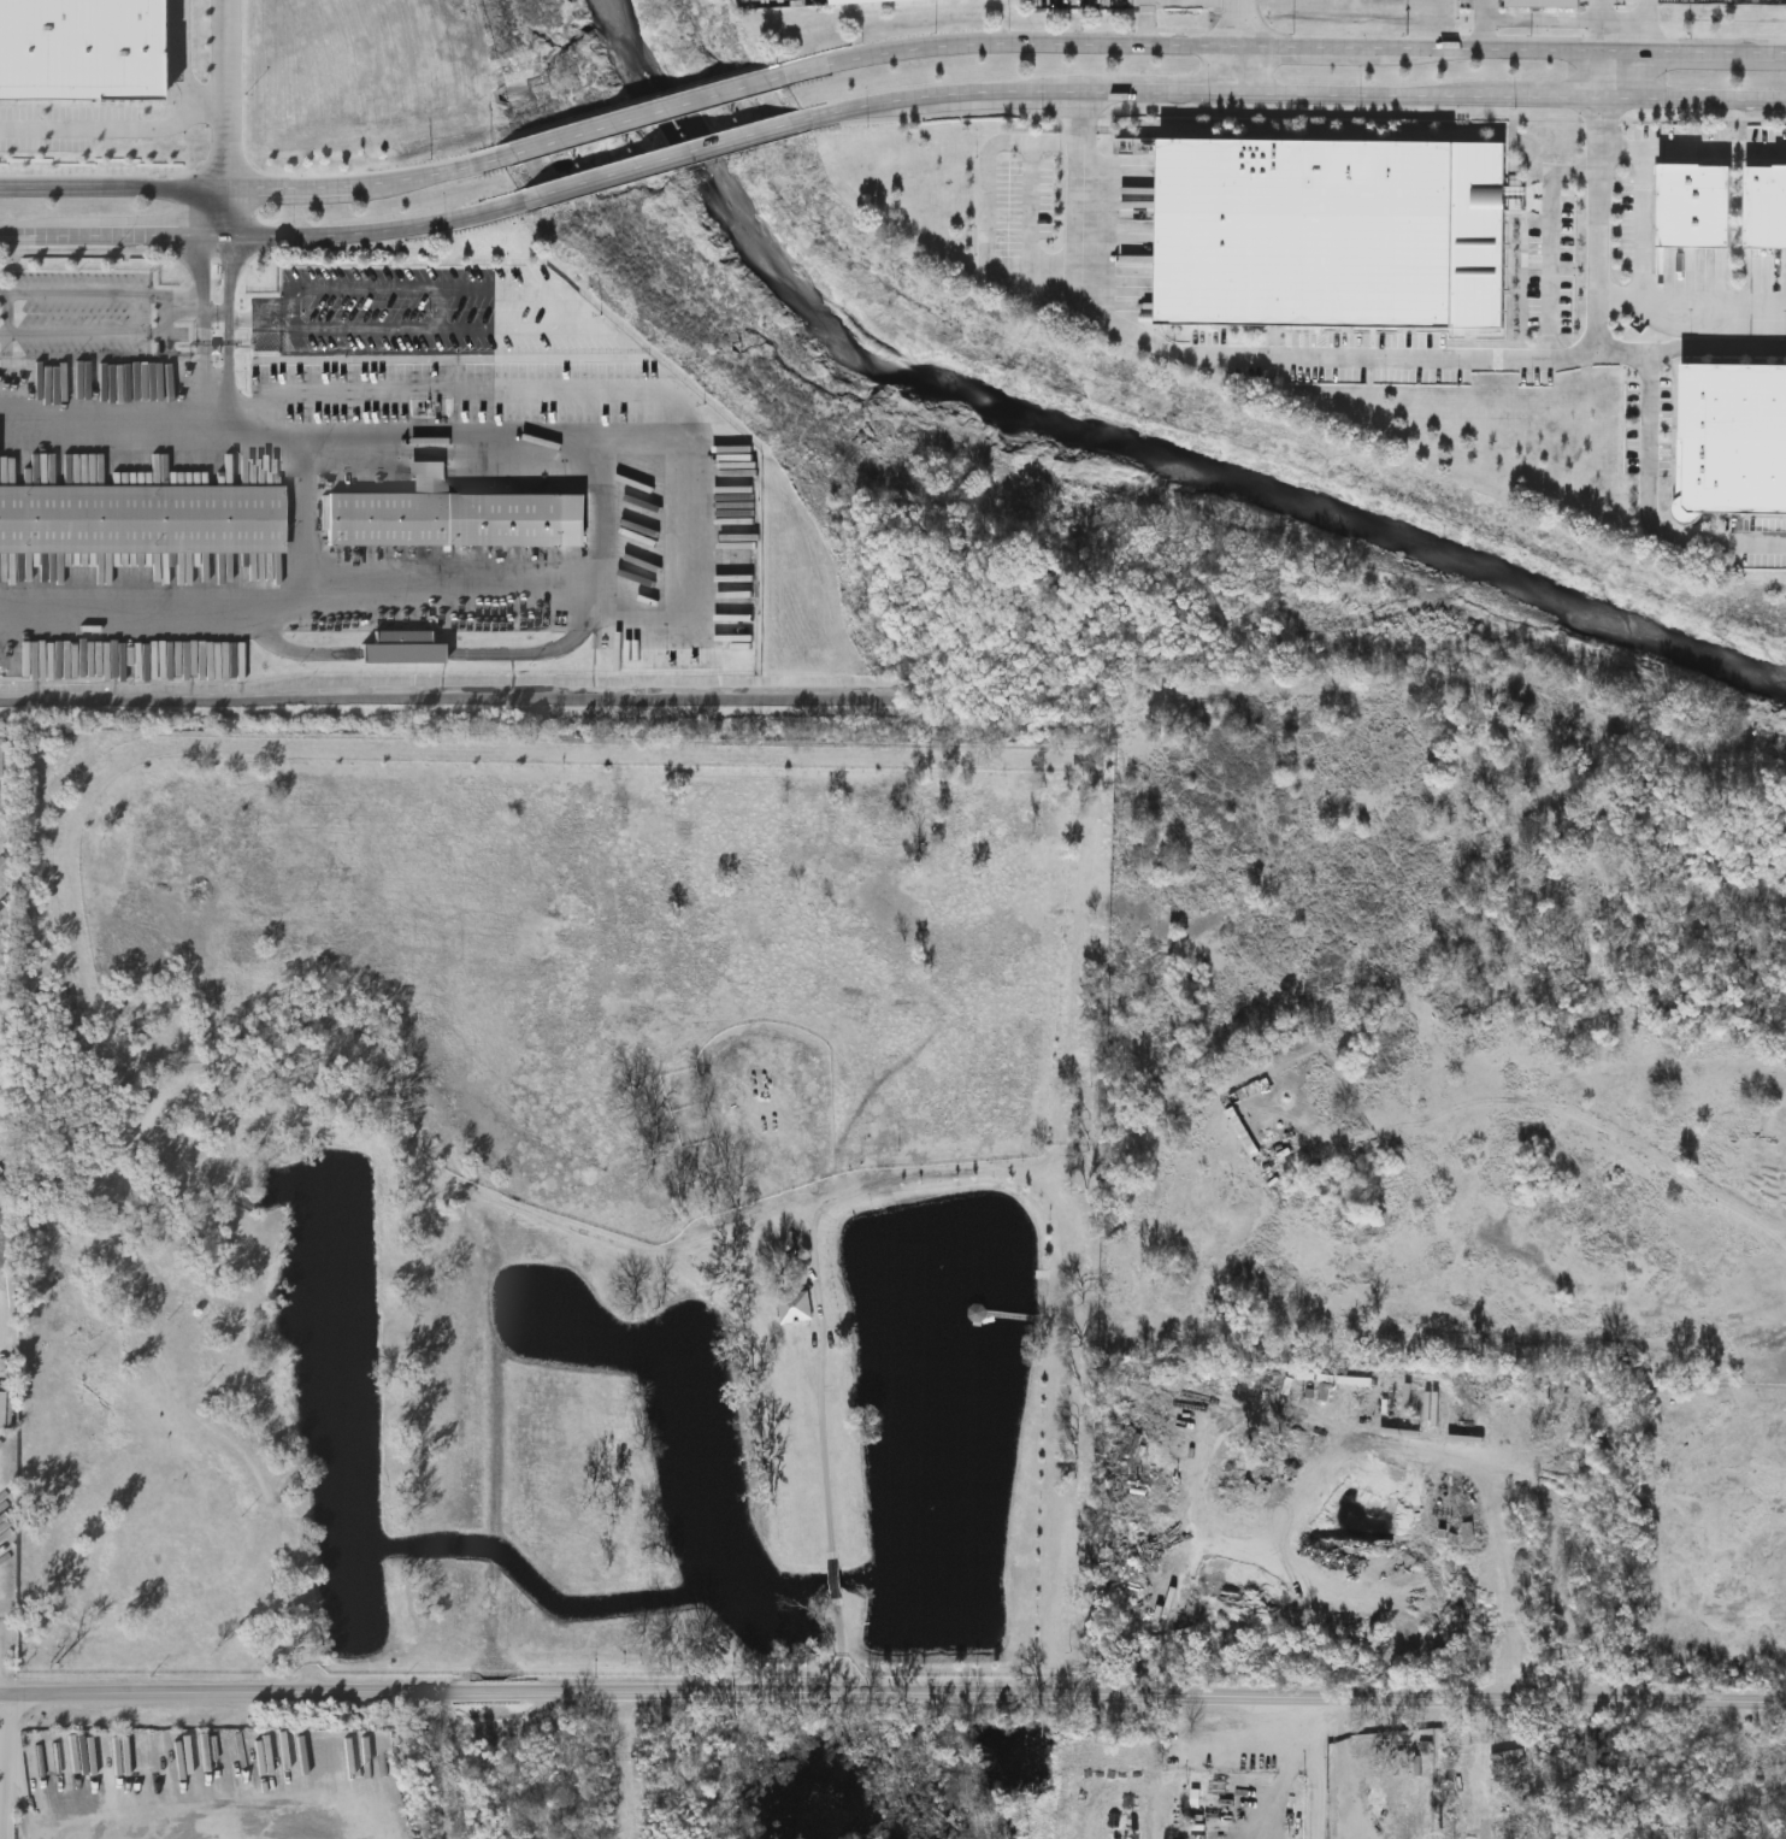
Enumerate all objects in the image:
building: (851, 1)
building: (1544, 2)
road: (1545, 14)
road: (1149, 22)
road: (1483, 24)
road: (1609, 25)
road: (1645, 25)
road: (1236, 47)
road: (1280, 47)
building: (79, 53)
road: (234, 54)
road: (1609, 76)
road: (1644, 77)
road: (1047, 94)
road: (1160, 94)
road: (1360, 98)
road: (1548, 101)
road: (1698, 102)
road: (902, 104)
road: (204, 110)
road: (643, 117)
road: (104, 130)
road: (1697, 148)
road: (666, 159)
road: (255, 195)
building: (1694, 204)
building: (1766, 205)
road: (225, 219)
road: (1607, 222)
road: (1080, 225)
road: (1644, 226)
building: (1332, 231)
road: (377, 236)
road: (1548, 238)
road: (145, 242)
road: (36, 243)
road: (83, 295)
road: (191, 302)
road: (1694, 305)
road: (98, 335)
road: (1246, 356)
road: (485, 391)
road: (110, 411)
building: (1732, 438)
road: (1649, 503)
road: (608, 514)
road: (312, 515)
building: (456, 519)
building: (142, 520)
road: (688, 546)
building: (402, 652)
building: (1245, 1094)
building: (1243, 1133)
building: (148, 1262)
building: (195, 1287)
building: (795, 1308)
building: (212, 1327)
building: (131, 1332)
building: (1402, 1345)
building: (2, 1411)
road: (825, 1421)
building: (1487, 1533)
road: (836, 1576)
road: (842, 1649)
road: (501, 1694)
road: (1393, 1698)
road: (13, 1767)
road: (1316, 1768)
road: (1287, 1786)
road: (31, 1805)
road: (210, 1805)

